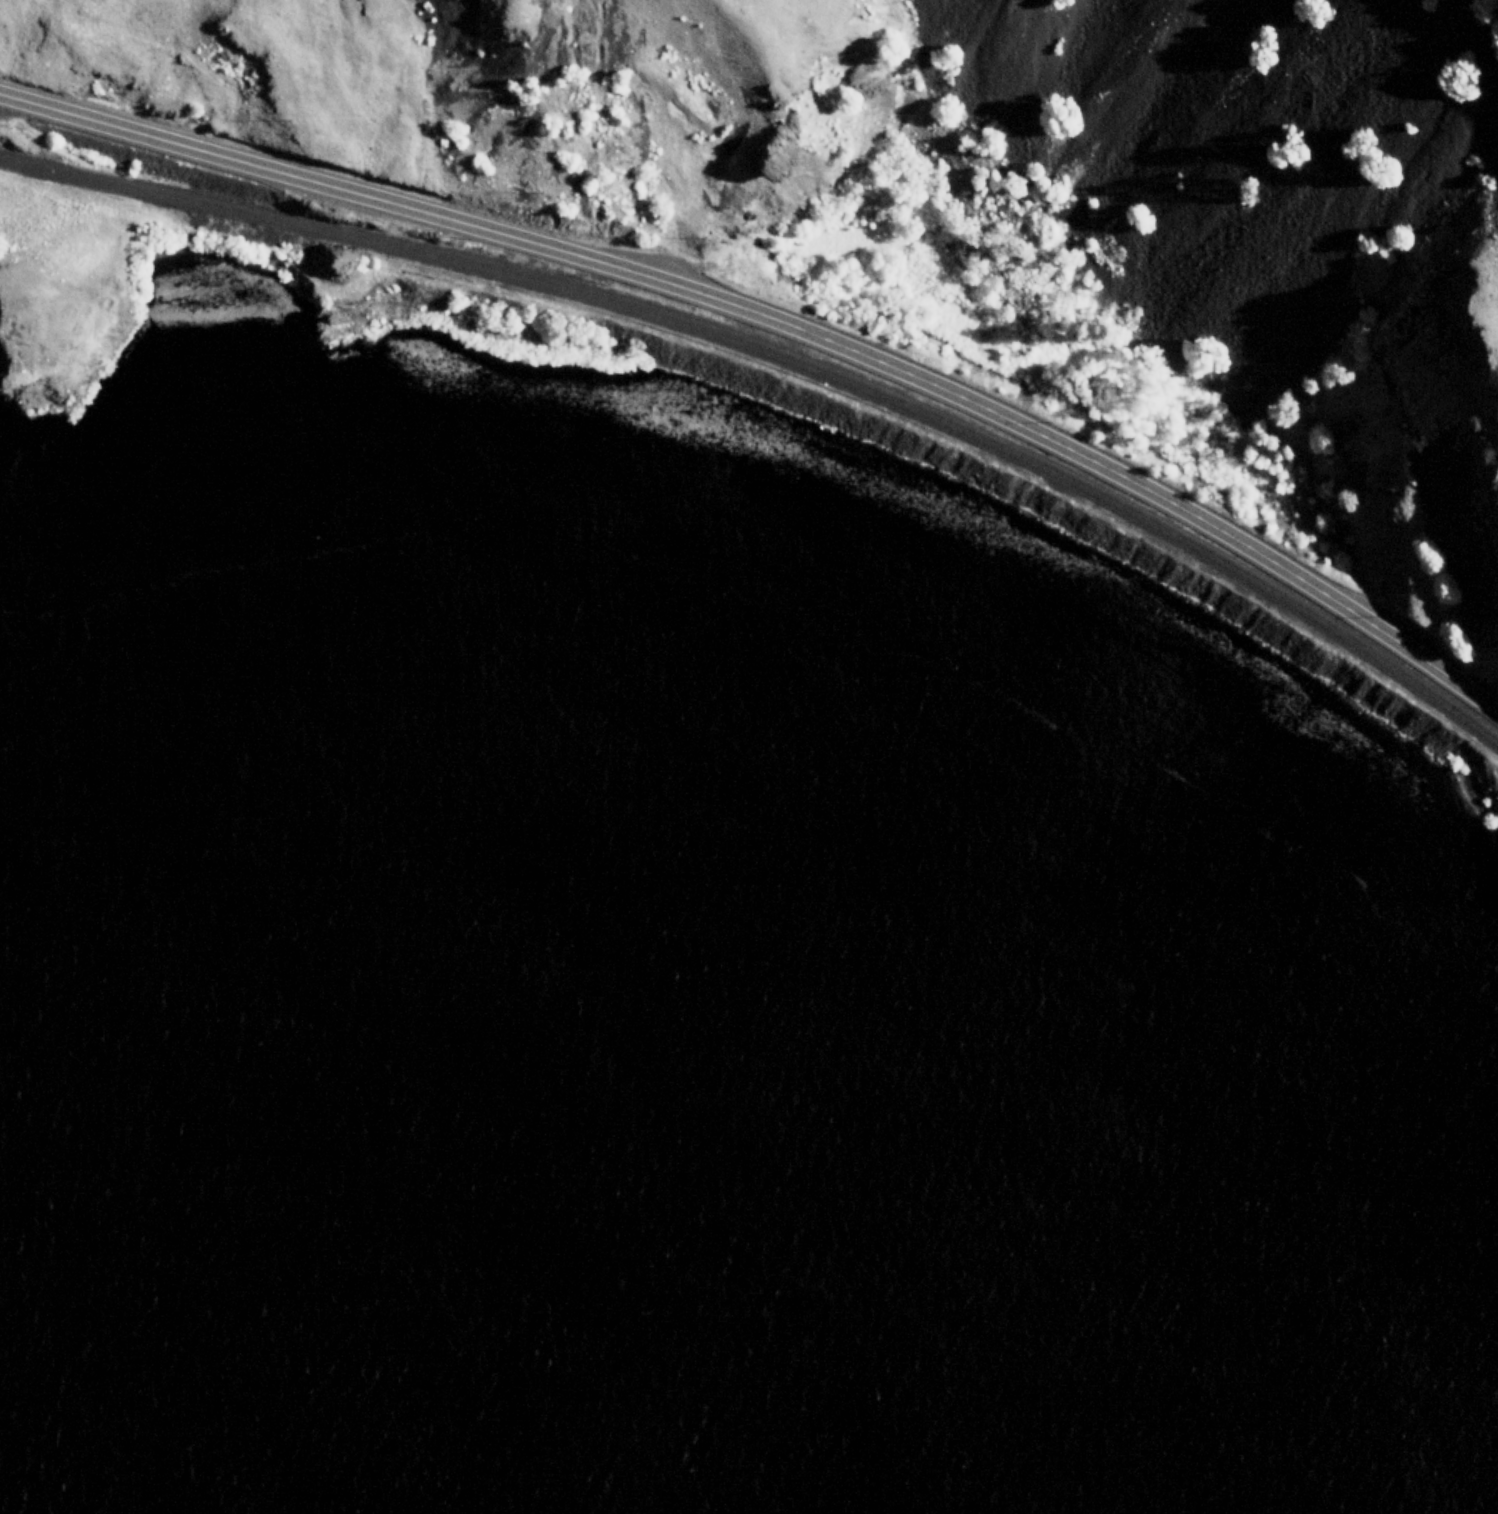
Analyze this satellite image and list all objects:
road: (784, 324)
railway: (786, 357)
river: (317, 1260)

